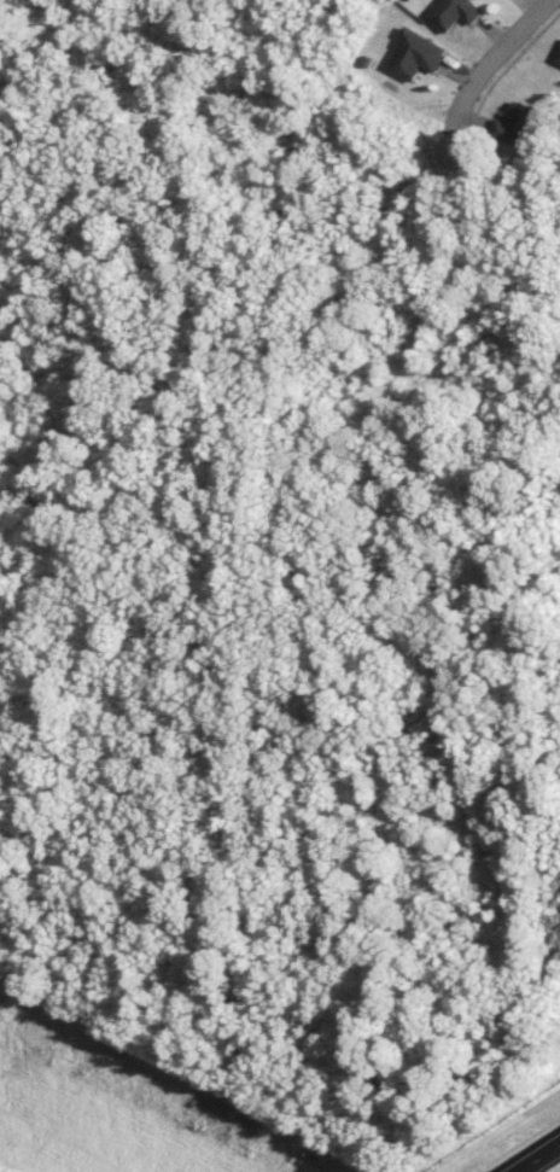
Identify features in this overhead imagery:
building: (454, 12)
building: (415, 54)
building: (558, 58)
road: (490, 59)
building: (517, 126)
road: (536, 1156)

